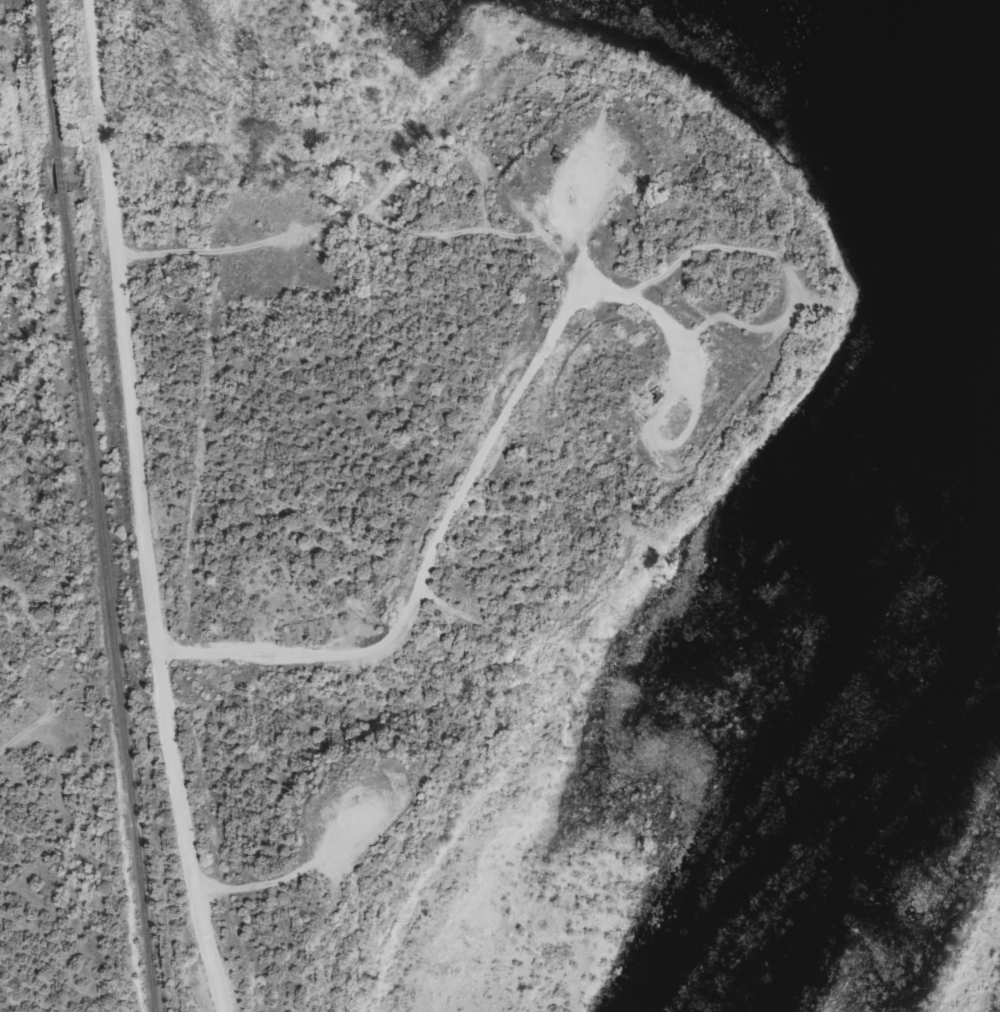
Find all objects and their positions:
road: (572, 305)
road: (684, 318)
road: (151, 505)
railway: (92, 506)
road: (526, 926)

